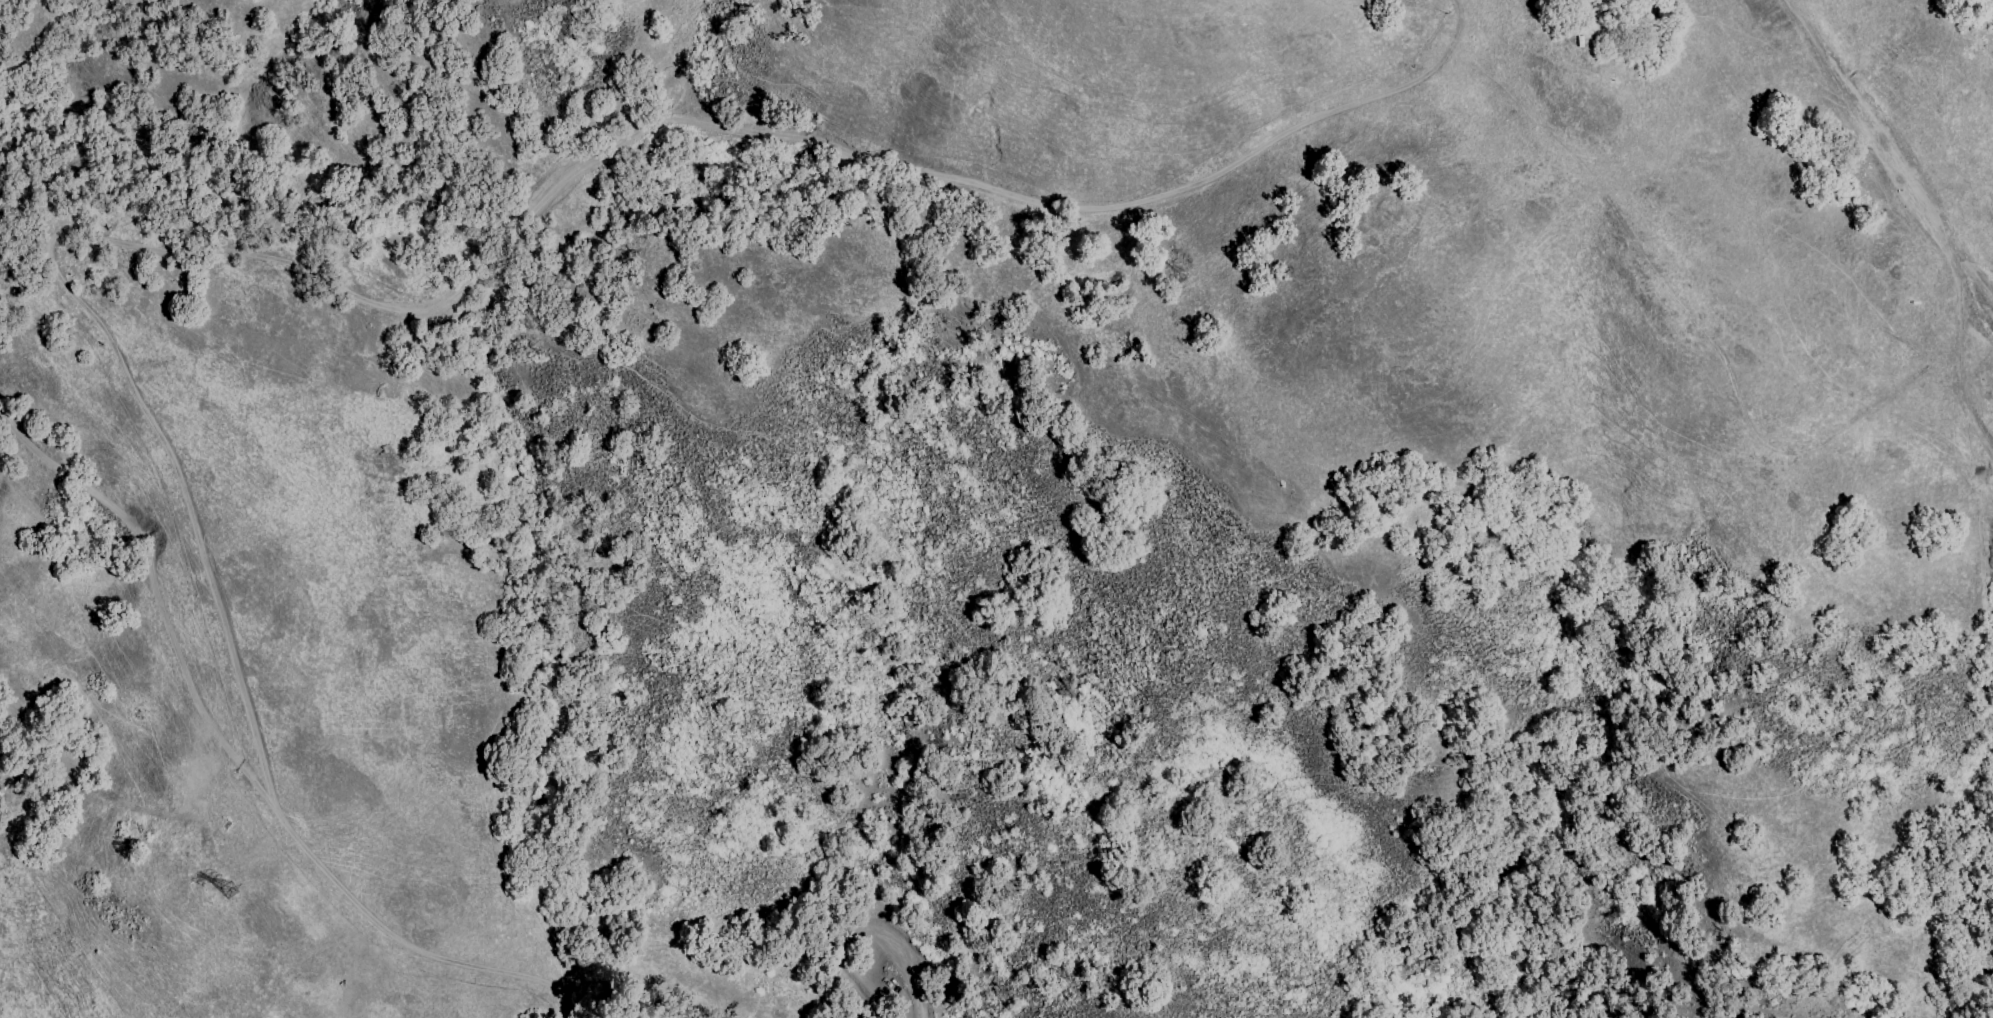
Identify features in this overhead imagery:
power tower: (238, 893)

